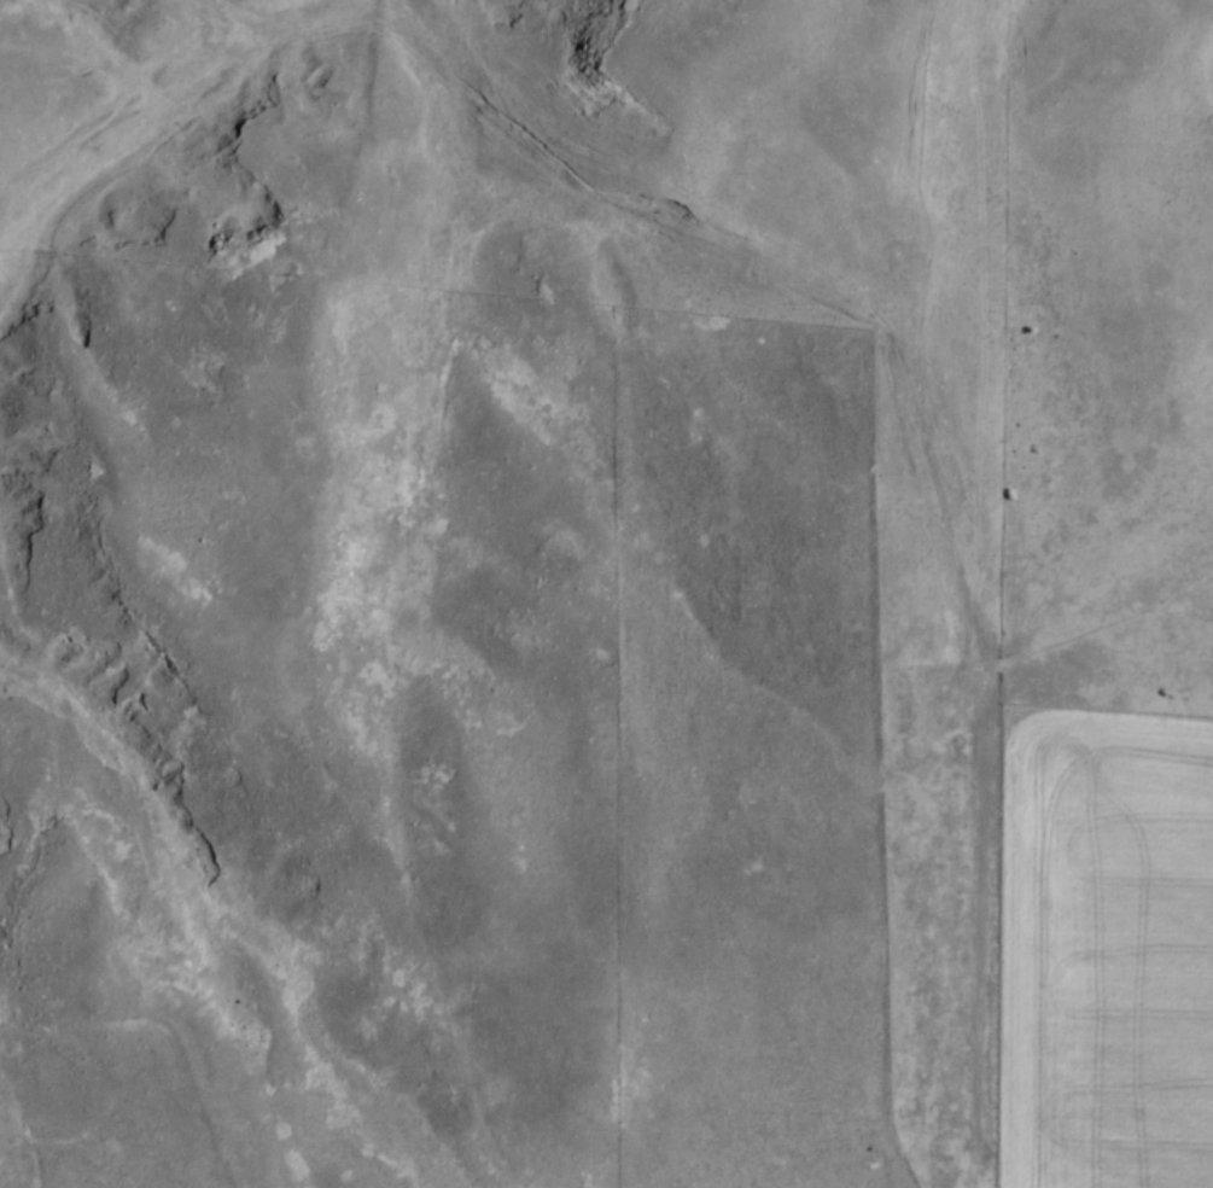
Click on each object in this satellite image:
crop: (1106, 948)

